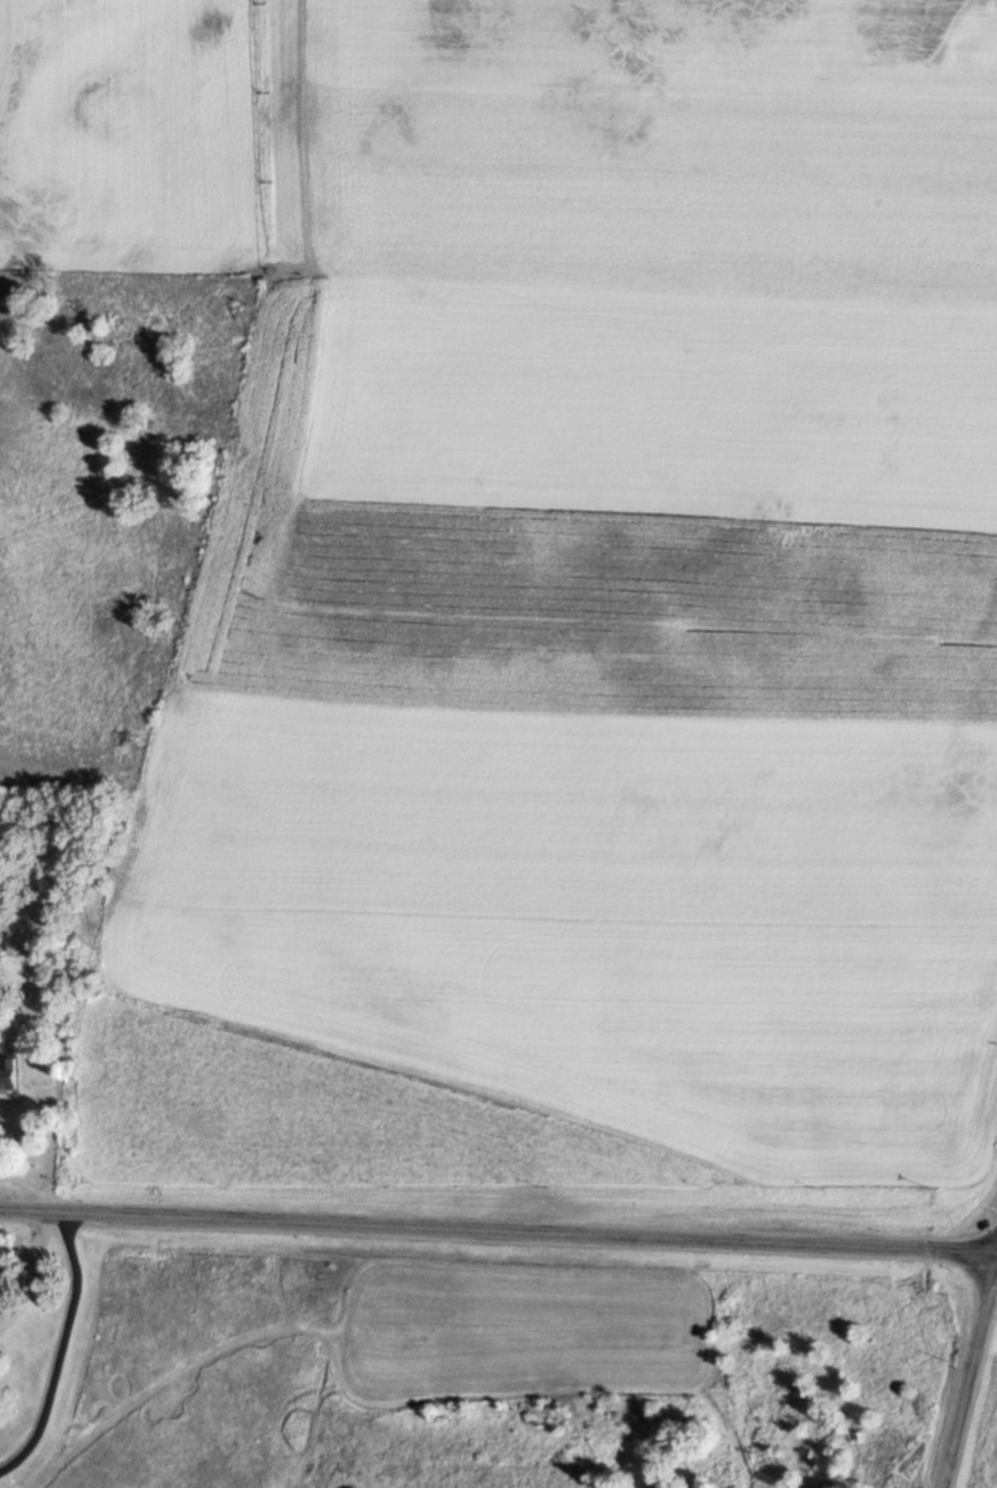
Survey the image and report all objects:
building: (8, 1070)
road: (34, 1187)
road: (498, 1232)
road: (35, 1273)
road: (60, 1350)
road: (968, 1376)

